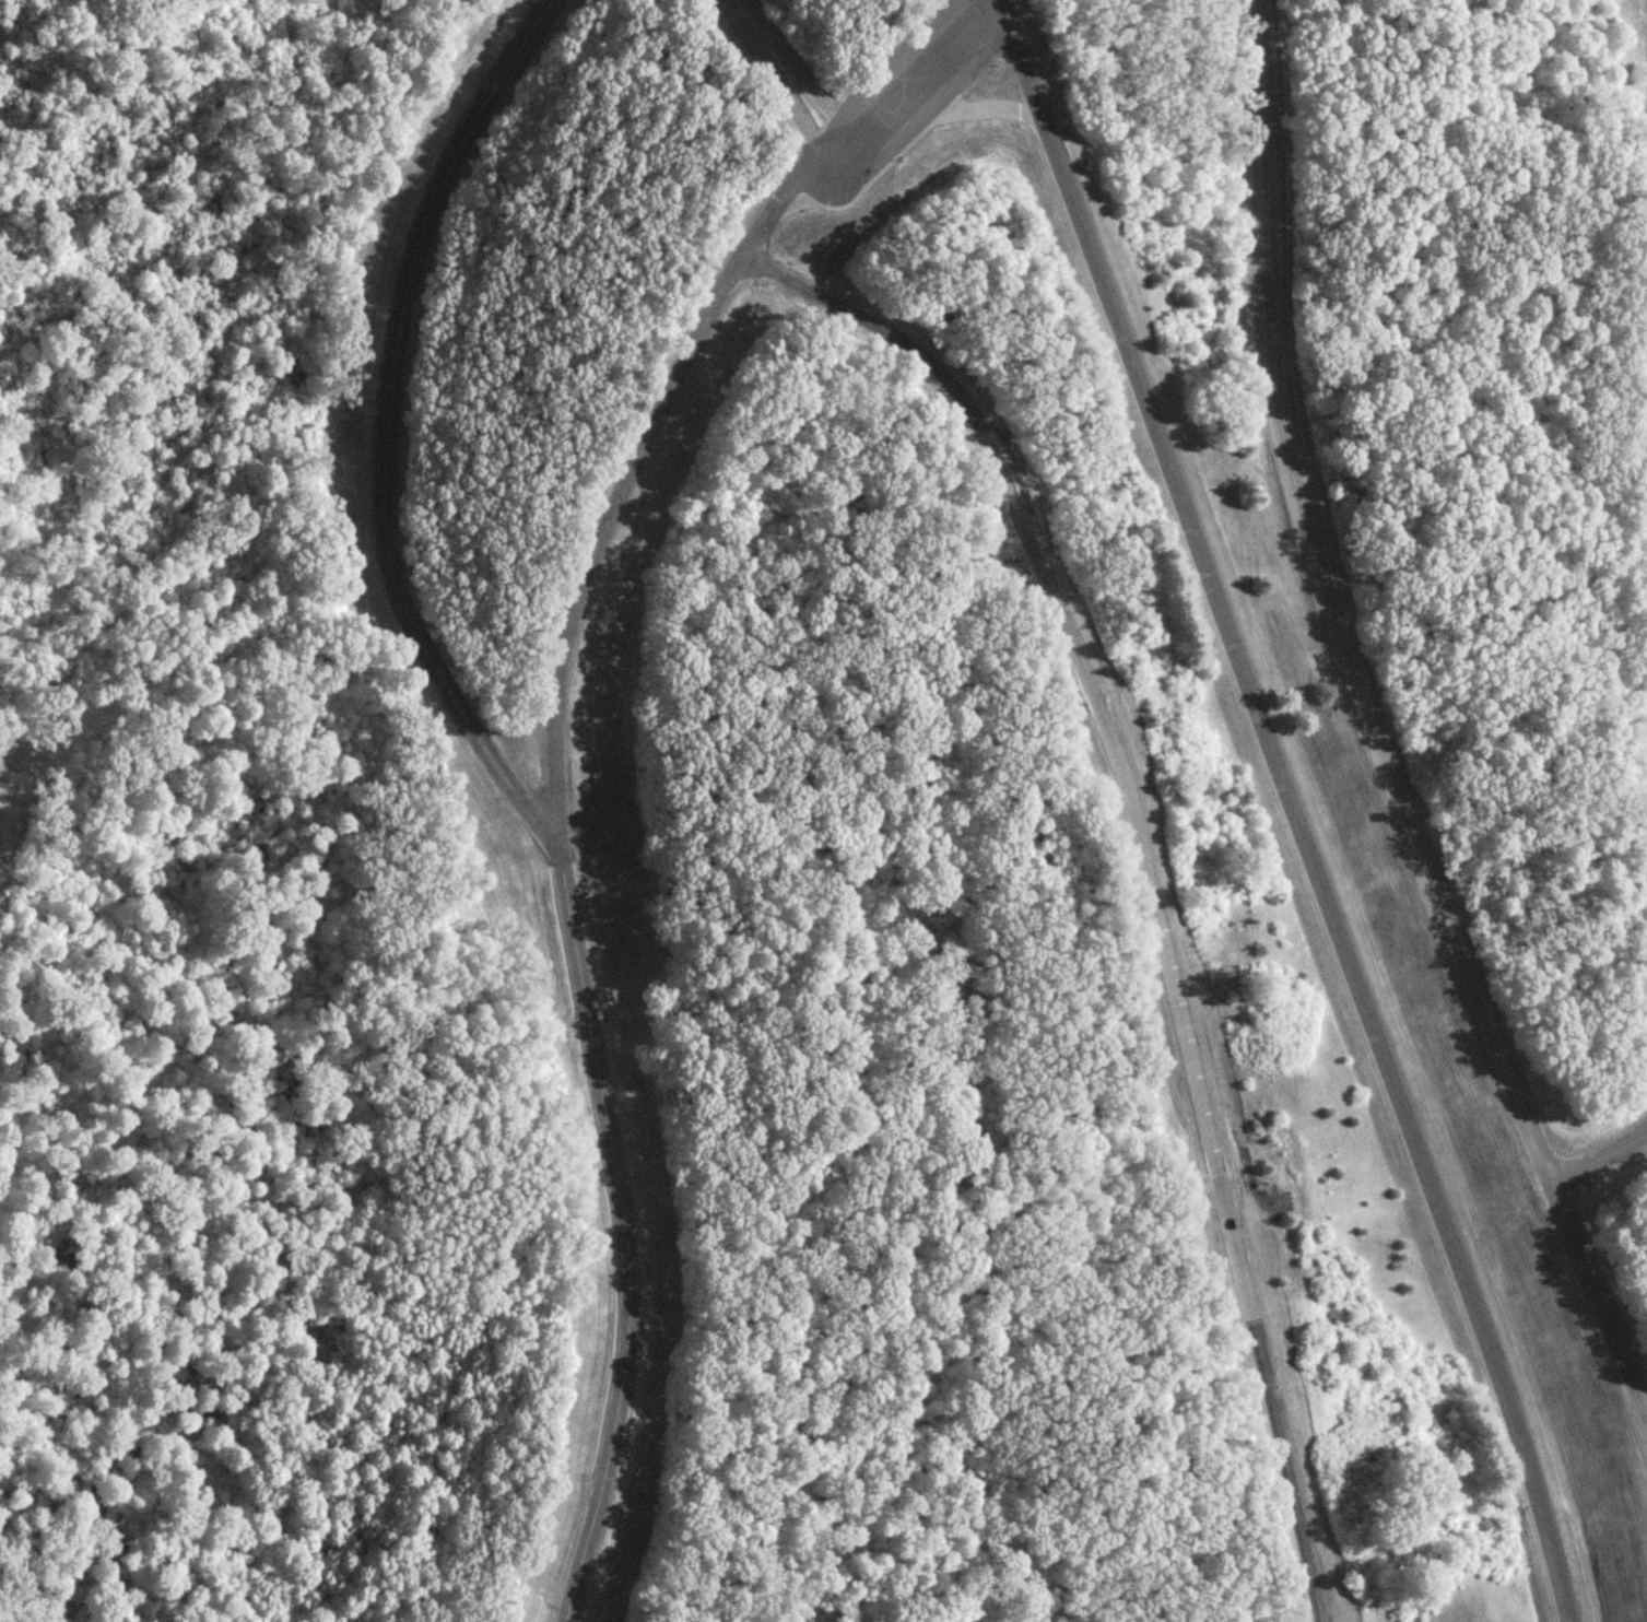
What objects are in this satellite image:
road: (776, 72)
road: (671, 390)
road: (1369, 724)
raceway: (513, 790)
raceway: (1291, 809)
road: (1148, 869)
road: (1600, 1147)

